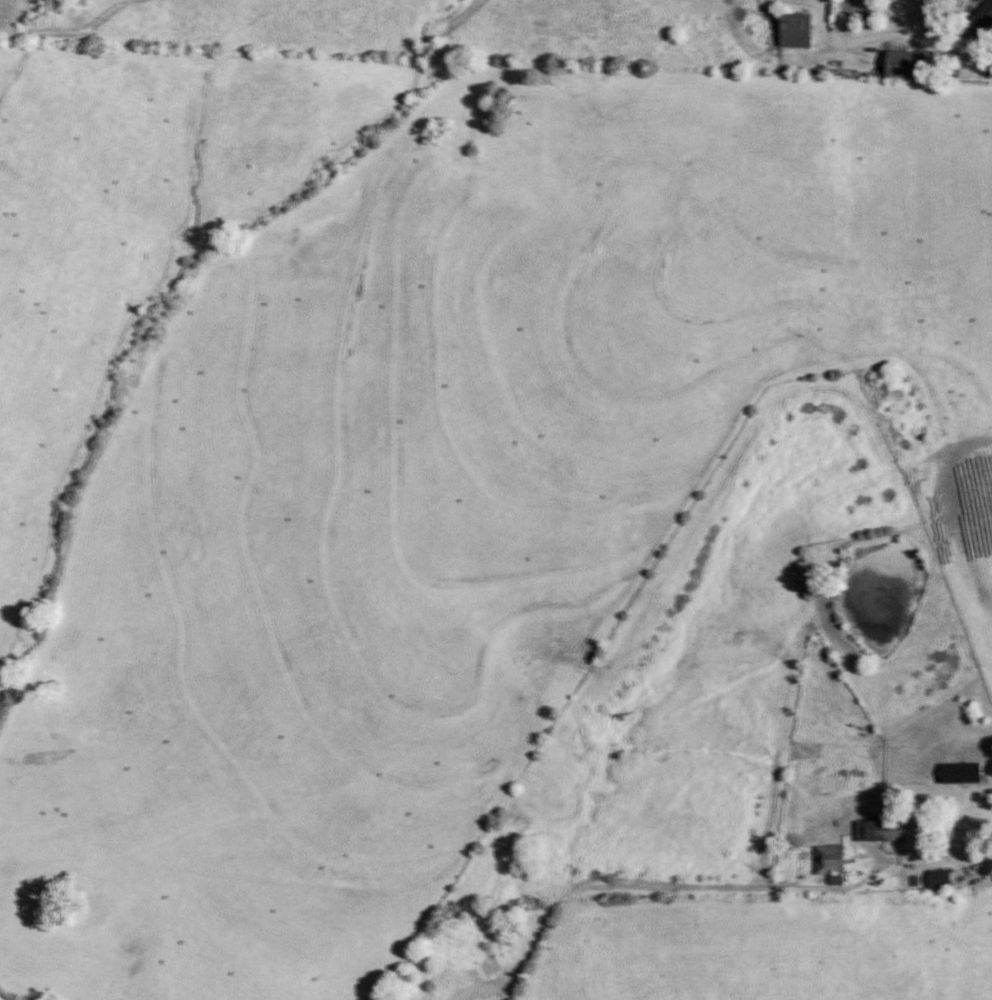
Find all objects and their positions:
building: (985, 16)
building: (796, 30)
road: (912, 33)
building: (907, 65)
building: (960, 774)
building: (970, 816)
building: (881, 831)
building: (829, 860)
road: (984, 864)
building: (940, 879)

